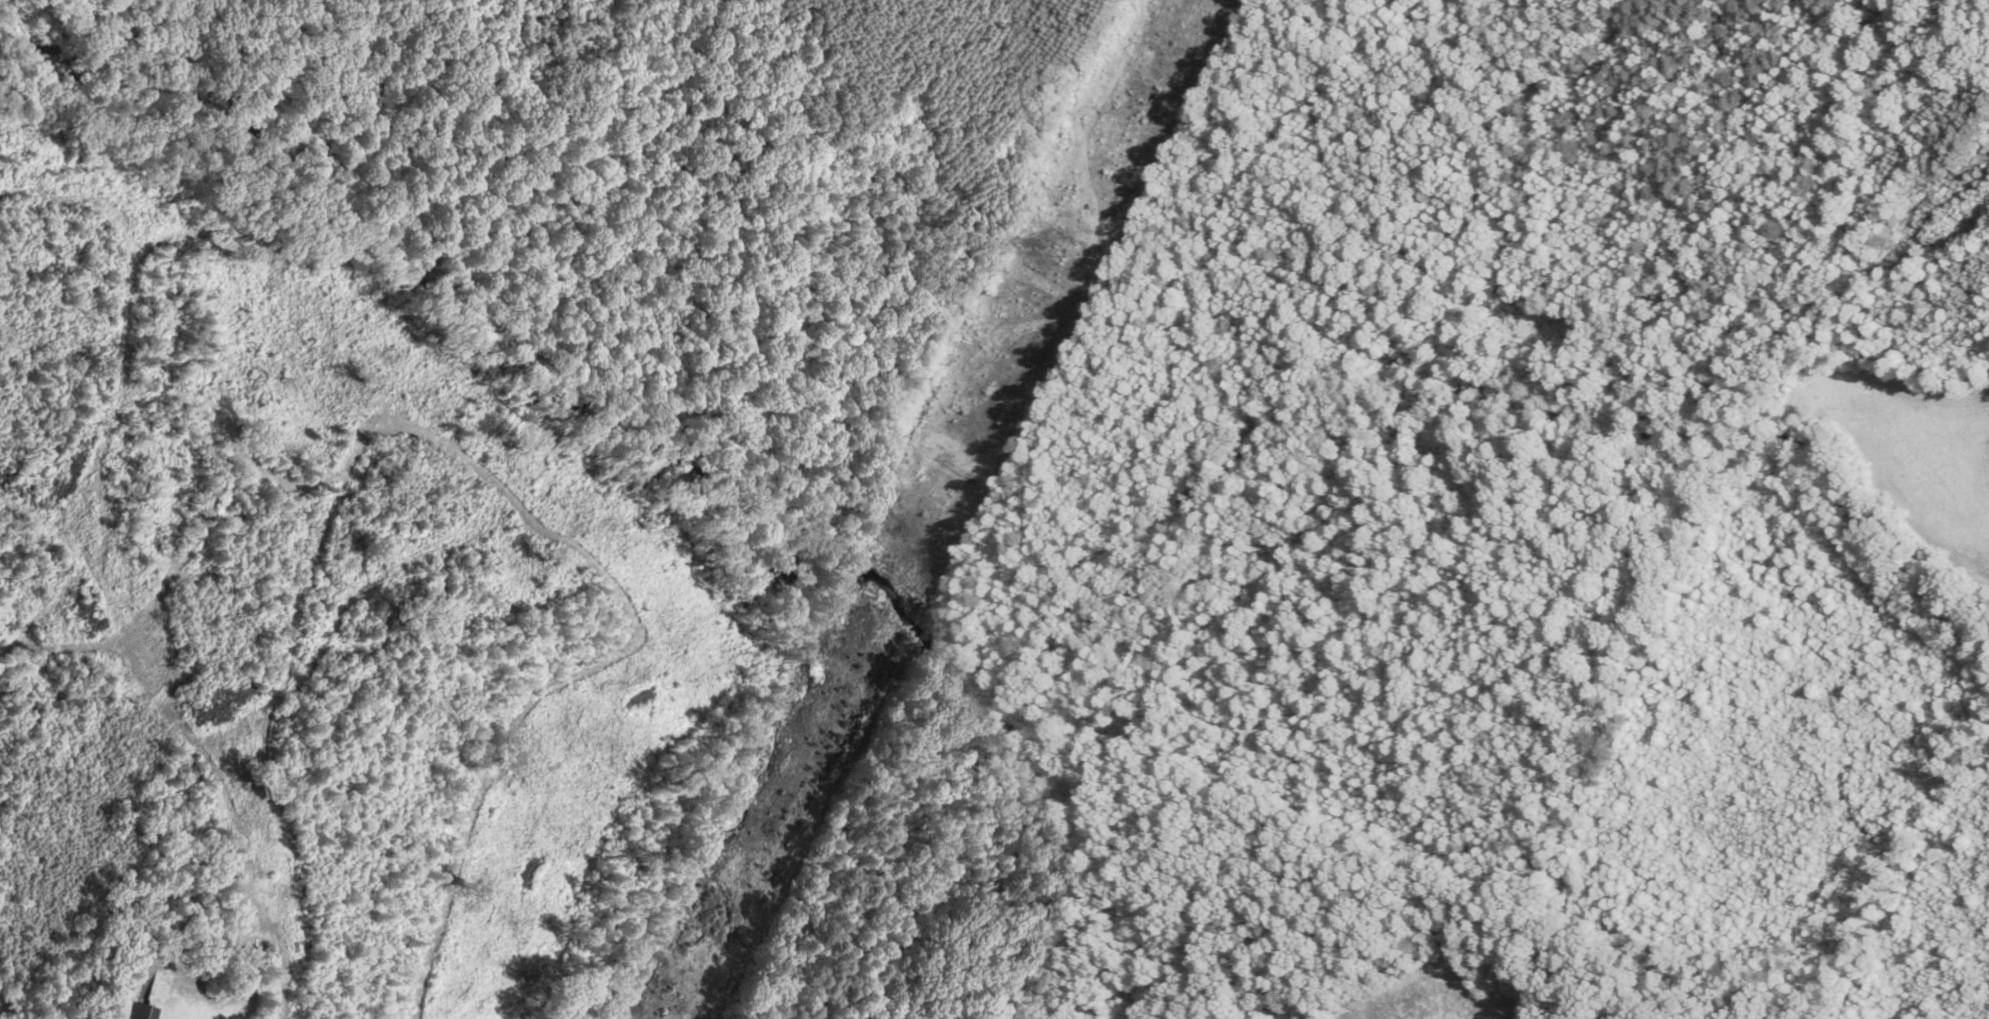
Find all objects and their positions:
power tower: (1062, 241)
building: (249, 956)
building: (143, 1012)

